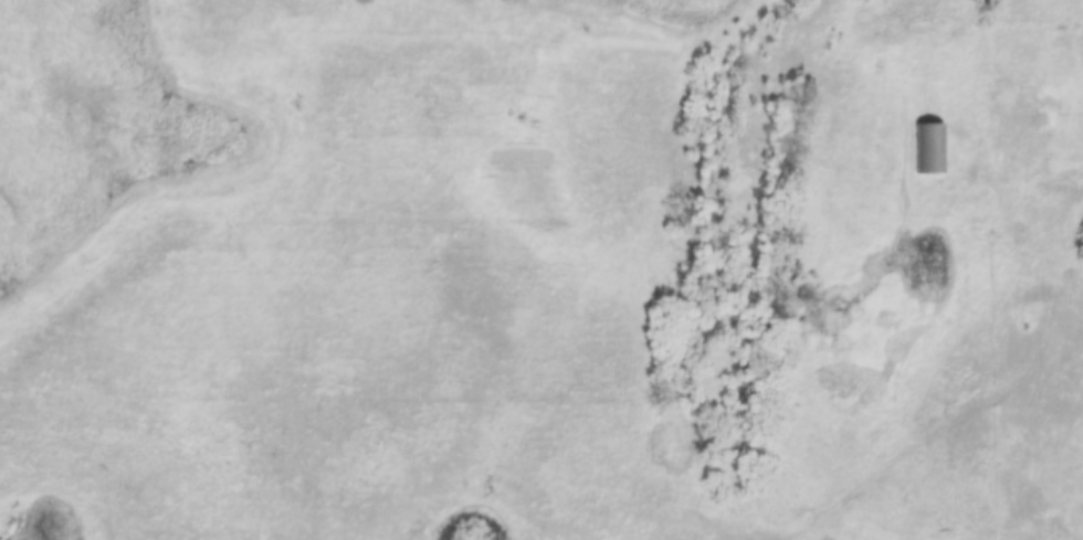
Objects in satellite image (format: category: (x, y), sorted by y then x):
building: (929, 148)

